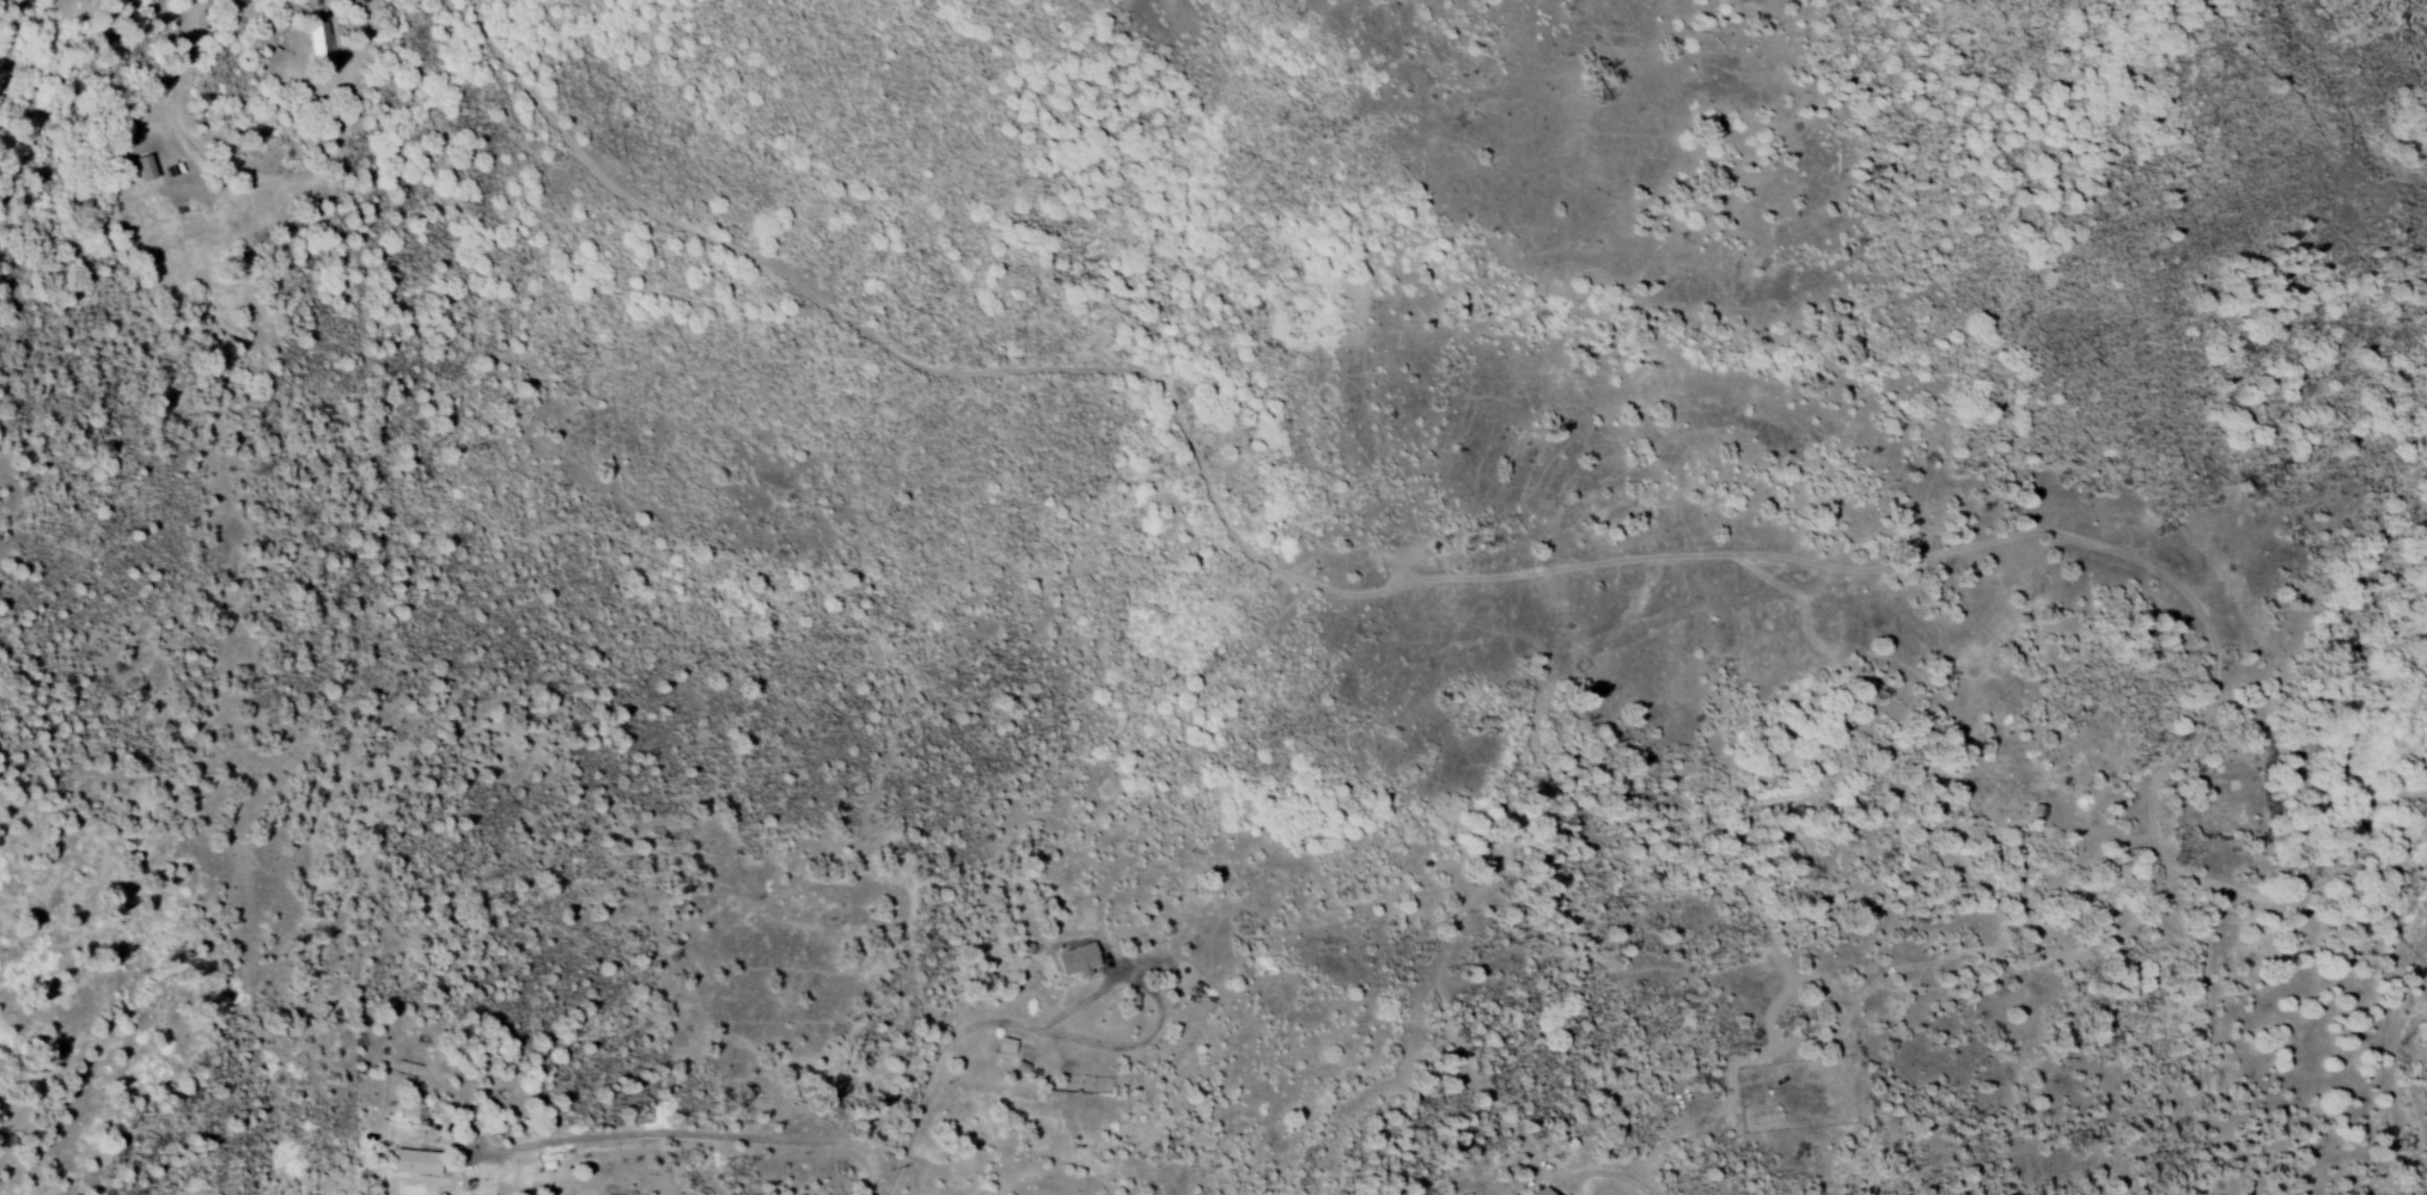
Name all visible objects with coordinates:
building: (319, 47)
building: (146, 170)
building: (1072, 961)
road: (1049, 1020)
road: (950, 1037)
road: (903, 1120)
building: (408, 1163)
road: (1606, 1172)
building: (1538, 1193)

